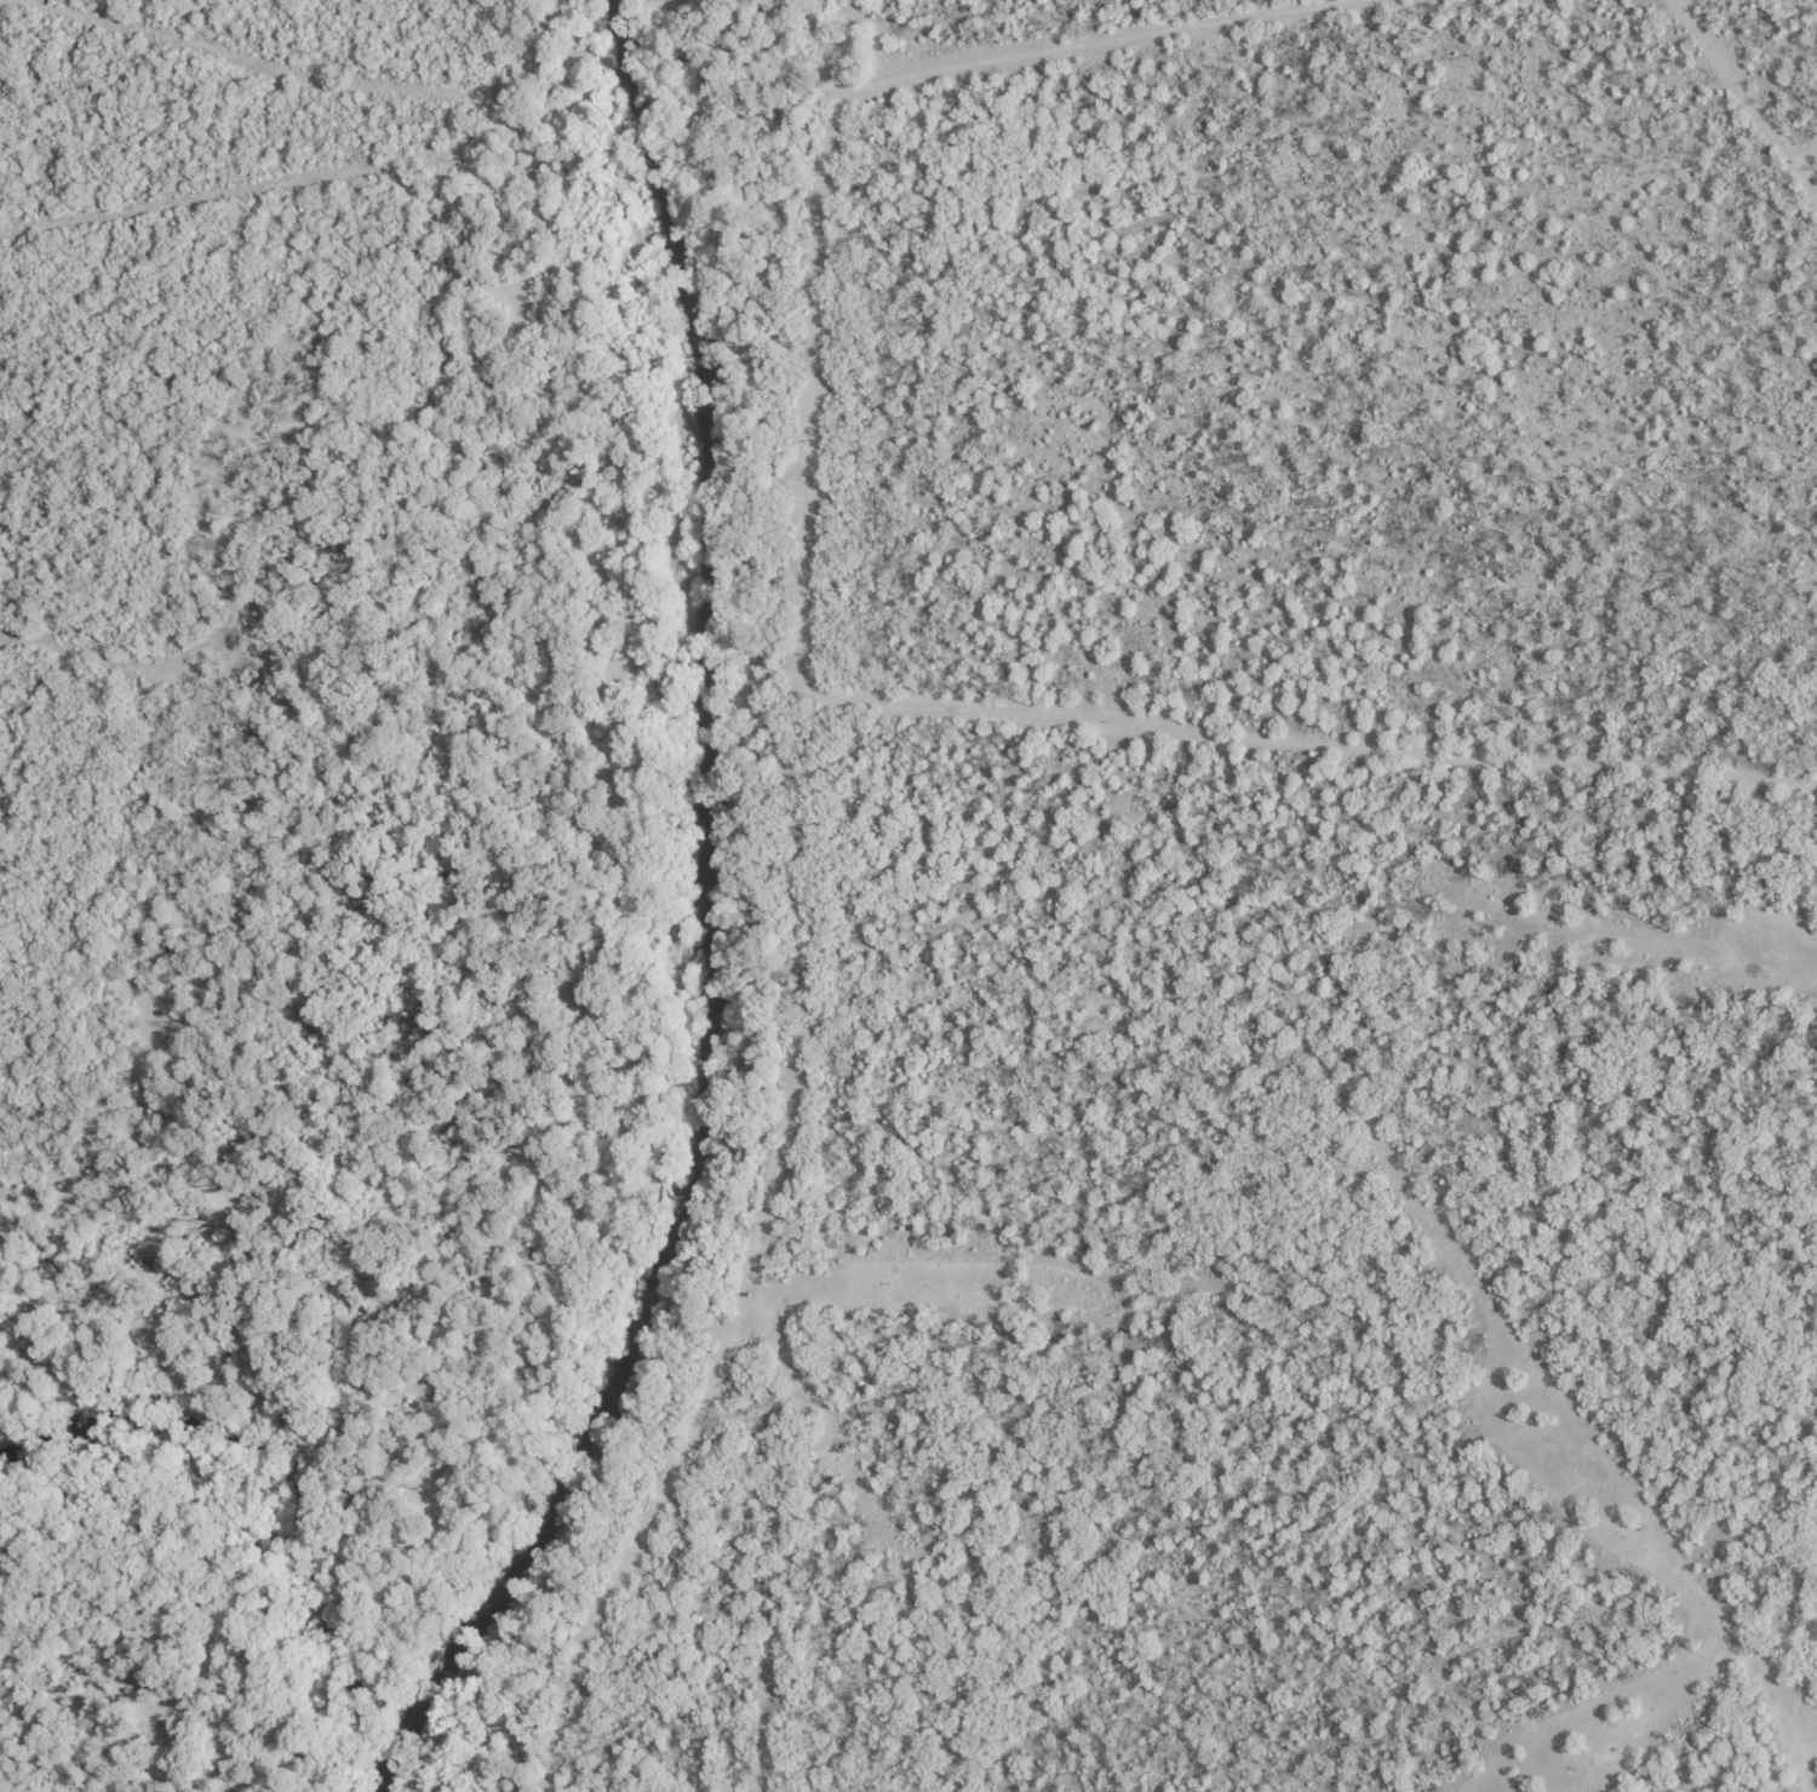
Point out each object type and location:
river: (698, 927)
river: (290, 1483)

